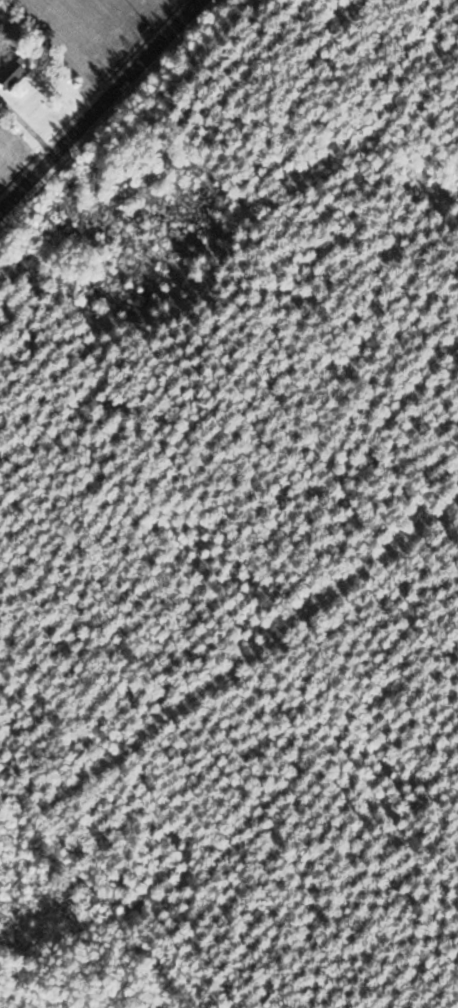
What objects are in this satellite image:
building: (19, 72)
road: (101, 107)

